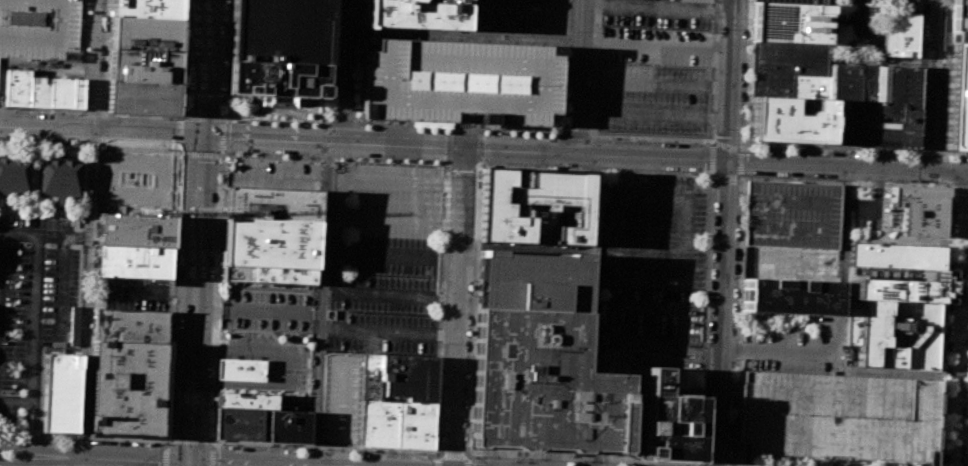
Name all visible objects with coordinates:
building: (795, 1)
parking garage: (795, 1)
building: (146, 8)
building: (413, 14)
parking lot: (500, 14)
parking lot: (544, 16)
building: (862, 16)
parking garage: (862, 16)
building: (791, 21)
building: (960, 22)
parking lot: (960, 22)
building: (38, 28)
parking garage: (38, 28)
building: (279, 31)
building: (144, 33)
building: (900, 34)
road: (462, 37)
road: (656, 44)
road: (343, 55)
road: (182, 58)
road: (226, 59)
road: (358, 61)
building: (142, 65)
road: (95, 66)
building: (790, 68)
parking lot: (655, 69)
road: (716, 70)
road: (747, 72)
road: (579, 76)
road: (918, 76)
building: (274, 80)
road: (731, 80)
building: (460, 81)
parking lot: (460, 81)
road: (929, 85)
building: (43, 91)
building: (141, 96)
building: (954, 97)
building: (868, 105)
road: (42, 110)
road: (94, 113)
road: (341, 113)
road: (142, 116)
road: (653, 116)
street lamp: (176, 117)
road: (218, 117)
street lamp: (354, 117)
road: (341, 119)
building: (788, 120)
street lamp: (243, 122)
street lamp: (262, 123)
street lamp: (282, 124)
street lamp: (302, 124)
street lamp: (303, 124)
street lamp: (372, 127)
road: (591, 127)
road: (456, 128)
street lamp: (425, 129)
street lamp: (451, 131)
road: (179, 132)
street lamp: (477, 132)
road: (575, 132)
road: (340, 133)
street lamp: (606, 138)
traffic signals: (200, 139)
road: (363, 143)
road: (88, 147)
road: (447, 147)
street lamp: (134, 148)
road: (828, 148)
street lamp: (152, 149)
street lamp: (172, 150)
road: (177, 150)
road: (925, 152)
road: (950, 152)
road: (200, 155)
street lamp: (226, 155)
street lamp: (243, 155)
road: (222, 156)
street lamp: (274, 156)
street lamp: (306, 157)
street lamp: (362, 159)
street lamp: (363, 159)
street lamp: (395, 160)
street lamp: (426, 162)
road: (479, 165)
street lamp: (178, 167)
road: (847, 167)
street lamp: (218, 171)
parking lot: (274, 175)
road: (625, 175)
road: (634, 175)
street lamp: (686, 175)
building: (14, 176)
building: (60, 178)
road: (736, 178)
street lamp: (449, 180)
road: (404, 181)
parking lot: (135, 183)
road: (222, 184)
road: (166, 186)
road: (953, 187)
road: (963, 188)
road: (871, 203)
building: (271, 205)
building: (534, 206)
road: (710, 206)
street lamp: (950, 206)
building: (920, 210)
building: (793, 211)
parking lot: (793, 211)
road: (885, 212)
parking lot: (867, 213)
road: (50, 215)
street lamp: (178, 217)
road: (948, 221)
road: (688, 222)
building: (133, 230)
road: (648, 232)
road: (196, 233)
road: (617, 237)
road: (894, 241)
building: (269, 243)
road: (966, 245)
road: (841, 250)
building: (895, 256)
road: (965, 256)
road: (593, 258)
parking lot: (384, 259)
road: (665, 259)
building: (132, 261)
road: (334, 262)
parking lot: (653, 262)
street lamp: (948, 266)
building: (268, 276)
street lamp: (213, 279)
building: (893, 284)
parking lot: (137, 293)
road: (87, 294)
road: (170, 295)
building: (790, 296)
road: (35, 299)
parking lot: (36, 303)
road: (321, 304)
parking lot: (267, 307)
road: (458, 307)
road: (441, 309)
road: (249, 310)
road: (474, 310)
road: (964, 312)
road: (313, 313)
road: (723, 313)
road: (960, 319)
road: (739, 322)
street lamp: (173, 323)
building: (130, 326)
street lamp: (946, 326)
building: (892, 333)
road: (388, 334)
road: (784, 348)
parking lot: (790, 350)
building: (540, 359)
street lamp: (210, 367)
road: (277, 368)
building: (240, 369)
street lamp: (944, 371)
building: (409, 376)
building: (681, 382)
building: (127, 389)
building: (61, 393)
parking lot: (342, 398)
building: (246, 400)
road: (15, 401)
street lamp: (967, 404)
building: (391, 415)
building: (837, 418)
parking lot: (837, 418)
building: (668, 422)
building: (239, 423)
road: (26, 424)
road: (35, 424)
building: (634, 424)
building: (288, 426)
street lamp: (169, 429)
street lamp: (942, 430)
street lamp: (208, 433)
road: (967, 436)
road: (82, 437)
road: (209, 439)
road: (188, 440)
road: (167, 441)
road: (212, 443)
street lamp: (467, 445)
street lamp: (221, 446)
street lamp: (268, 446)
road: (328, 446)
road: (40, 449)
street lamp: (327, 449)
street lamp: (380, 452)
street lamp: (422, 454)
road: (441, 454)
road: (166, 455)
street lamp: (481, 455)
road: (211, 456)
road: (460, 456)
street lamp: (703, 457)
street lamp: (966, 457)
street lamp: (528, 458)
road: (583, 458)
road: (134, 459)
road: (81, 461)
traffic signals: (188, 461)
street lamp: (583, 461)
road: (40, 462)
road: (251, 462)
road: (437, 463)
street lamp: (635, 463)

